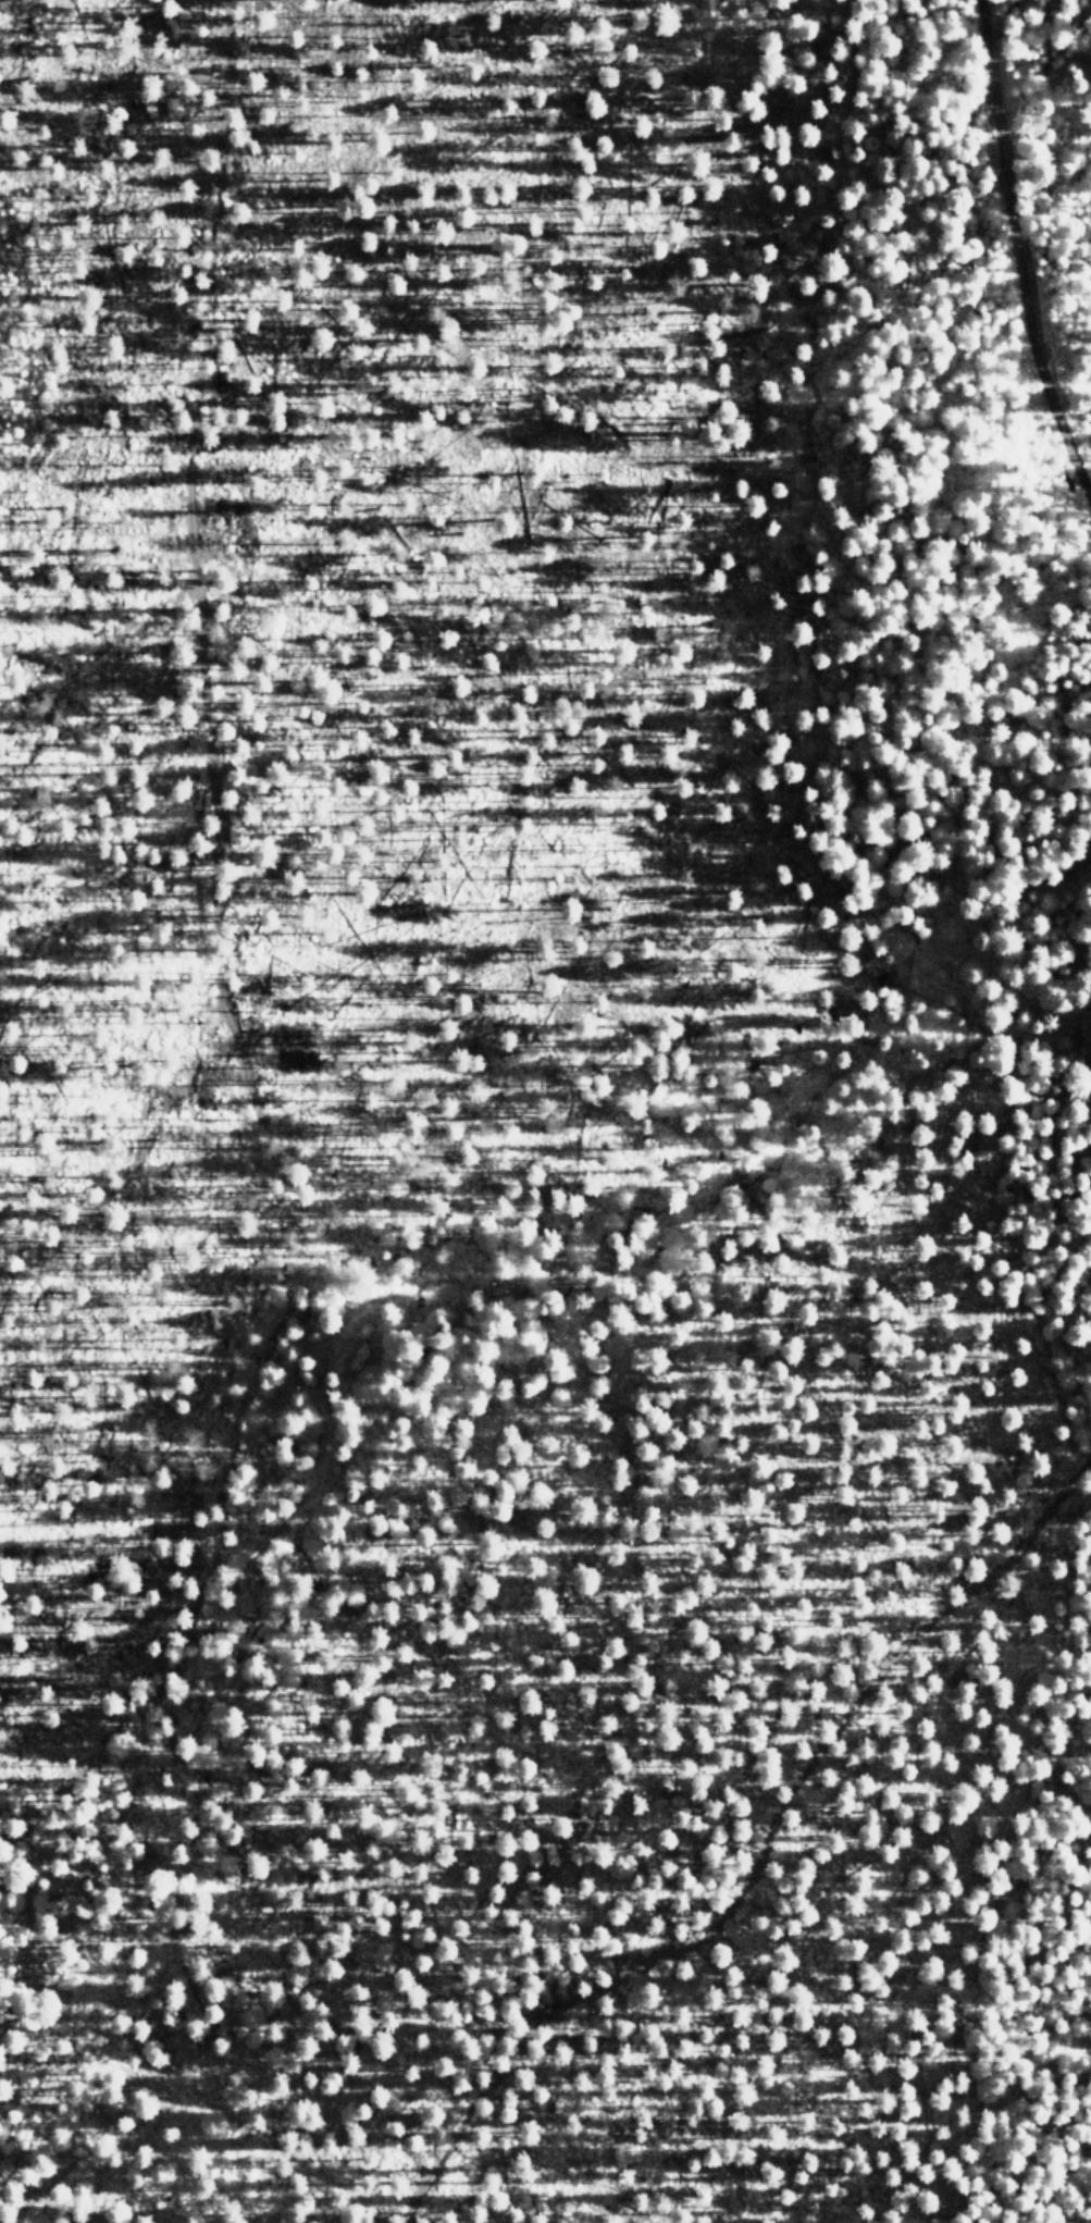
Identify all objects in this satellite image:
road: (1015, 268)

